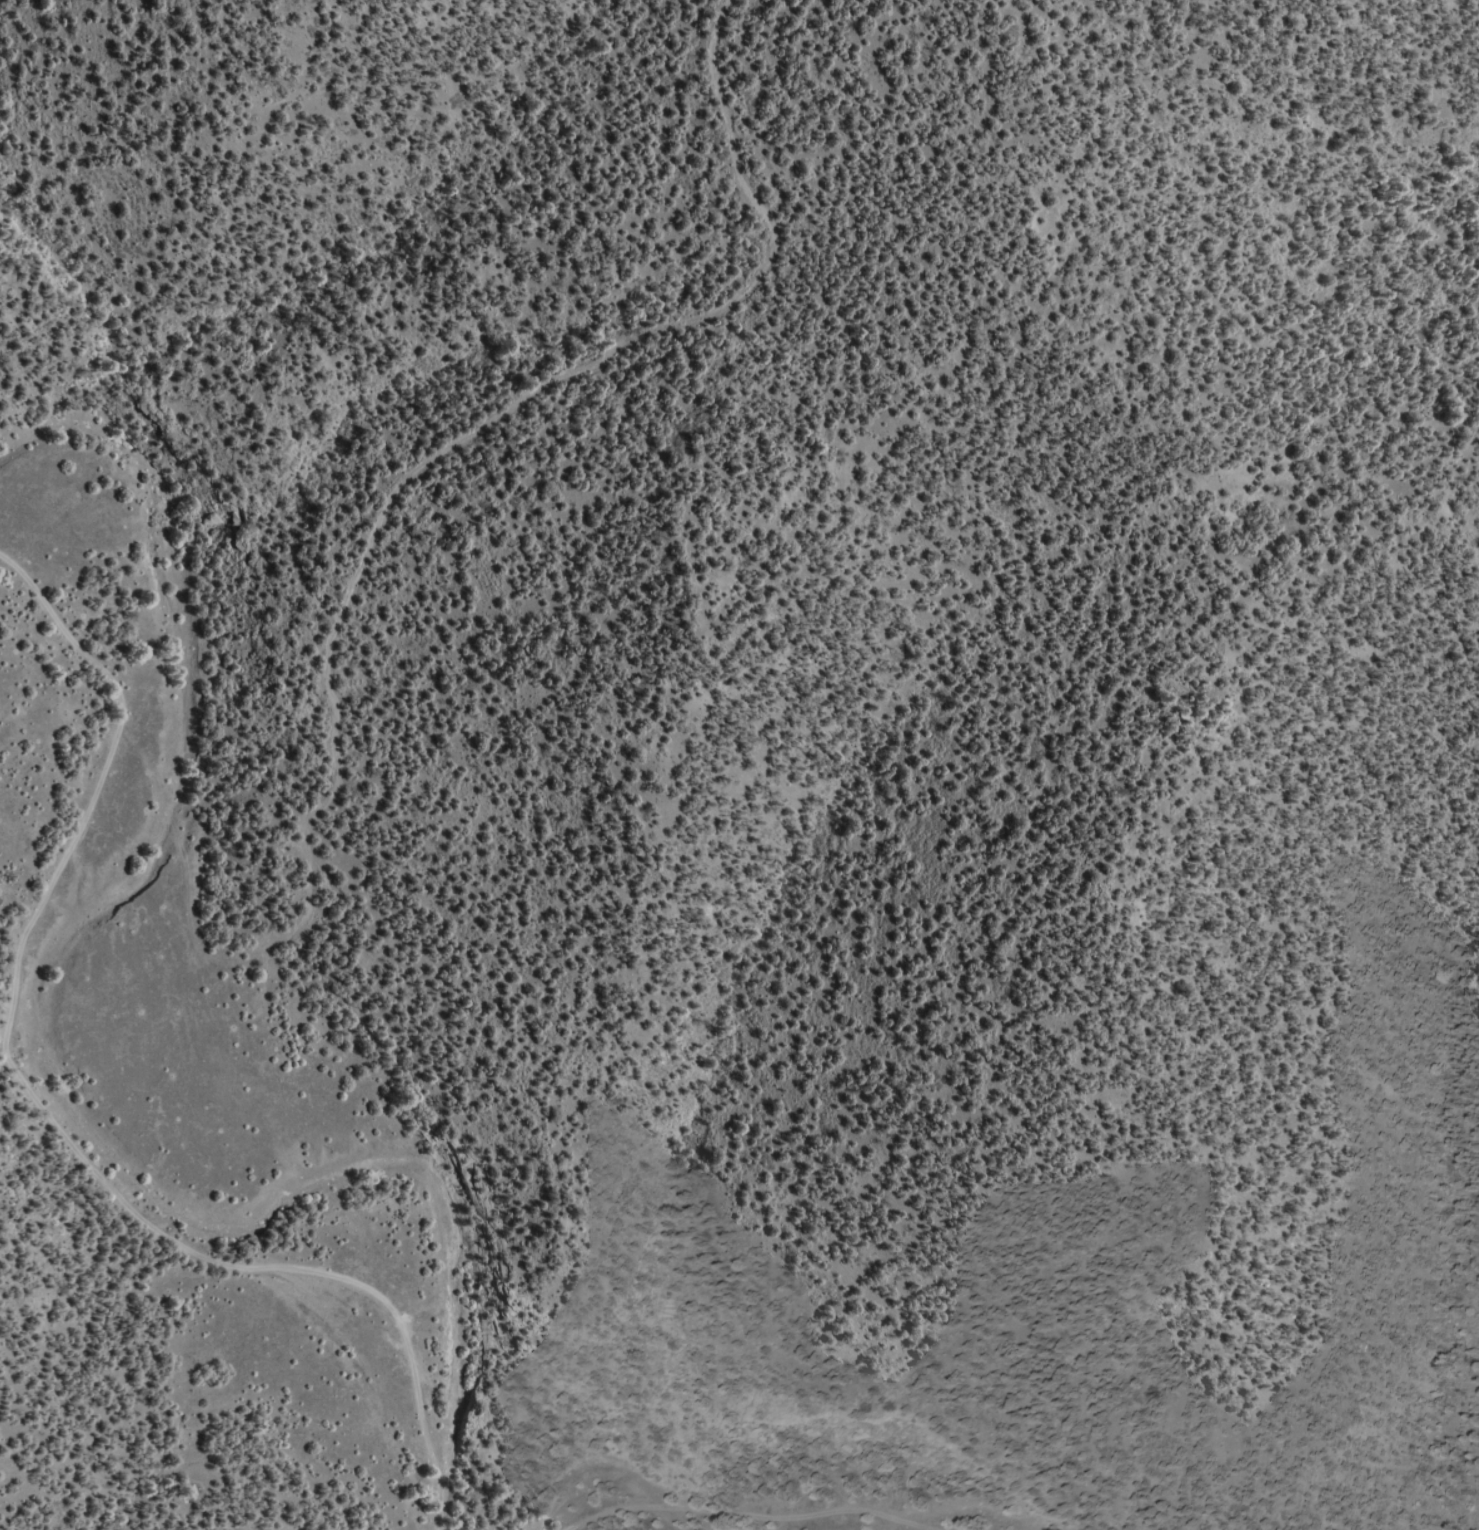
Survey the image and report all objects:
road: (374, 526)
road: (72, 643)
road: (123, 1203)
road: (743, 1513)

